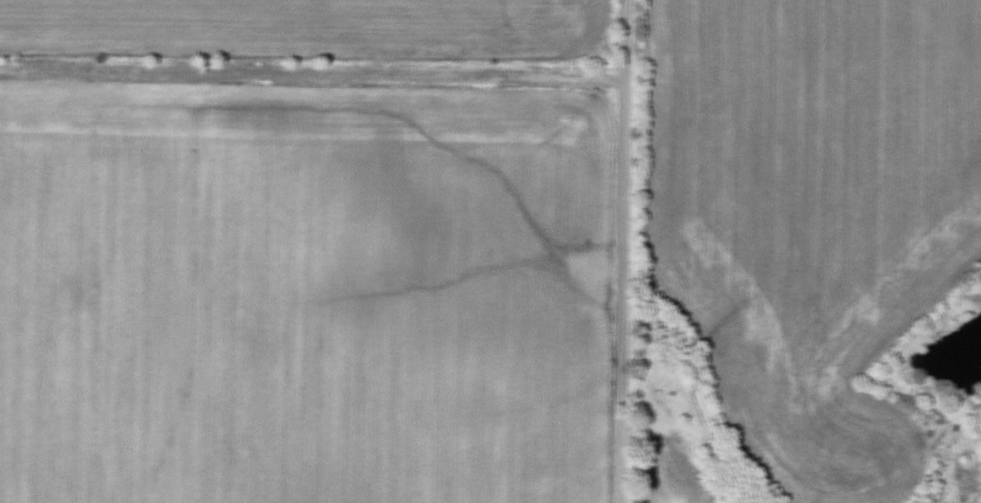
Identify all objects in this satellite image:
road: (313, 75)
road: (624, 251)

